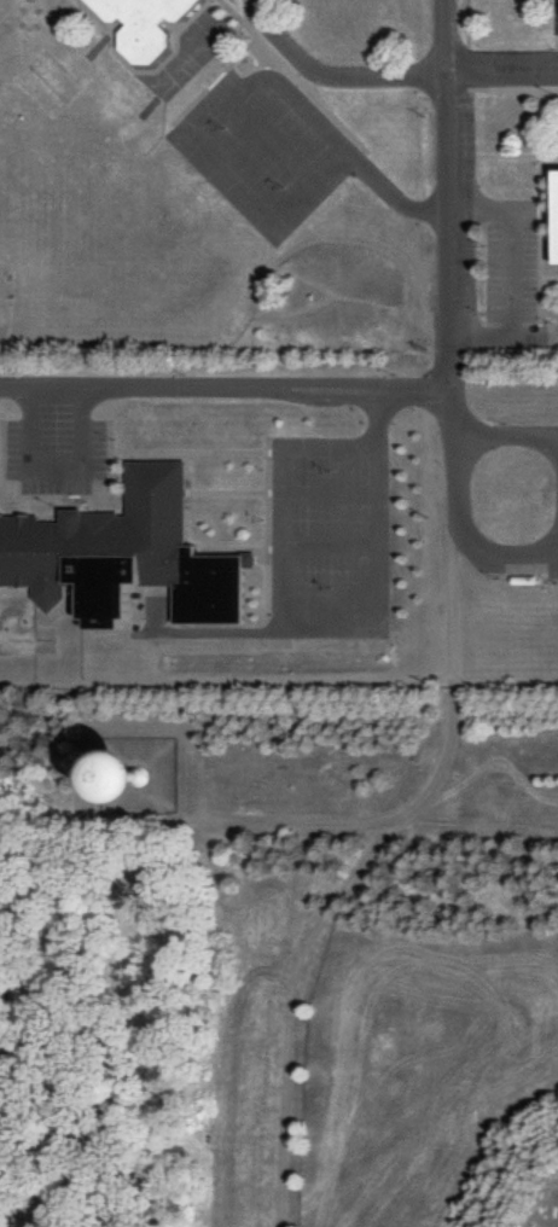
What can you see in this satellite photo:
building: (144, 24)
road: (504, 66)
road: (337, 75)
road: (243, 92)
road: (273, 138)
road: (453, 217)
road: (512, 277)
road: (367, 383)
road: (140, 385)
road: (366, 396)
road: (507, 436)
road: (58, 461)
road: (458, 495)
building: (126, 554)
road: (517, 554)
road: (308, 611)
road: (21, 1076)
road: (103, 1106)
road: (71, 1186)

